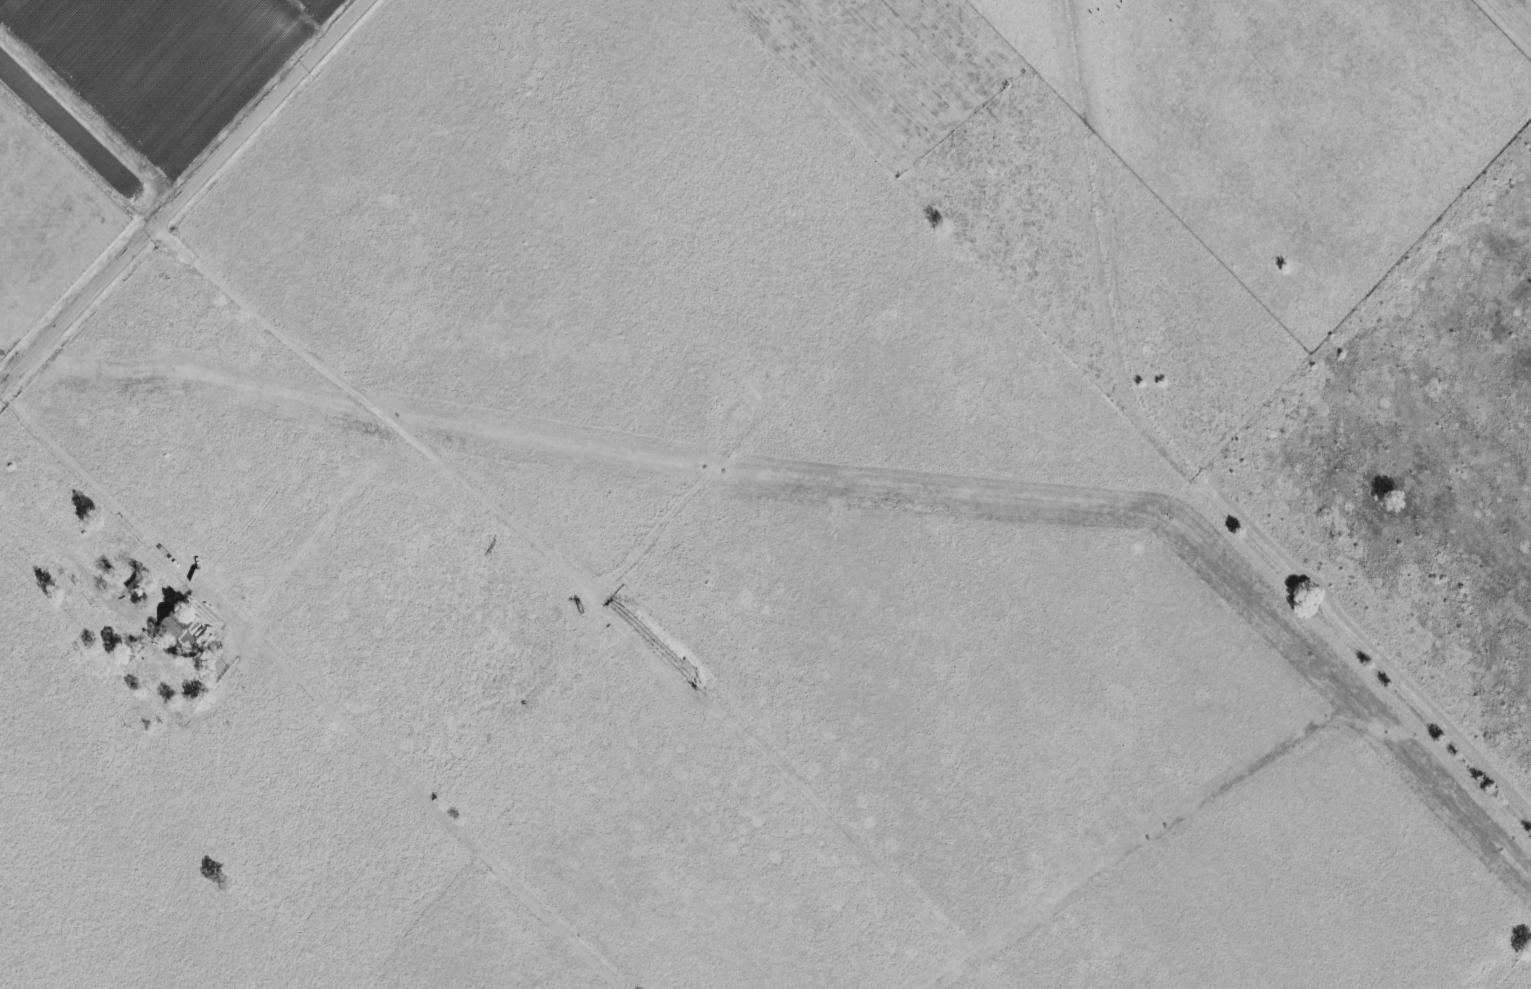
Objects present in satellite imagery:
road: (186, 197)
road: (71, 560)
building: (175, 627)
road: (315, 688)

